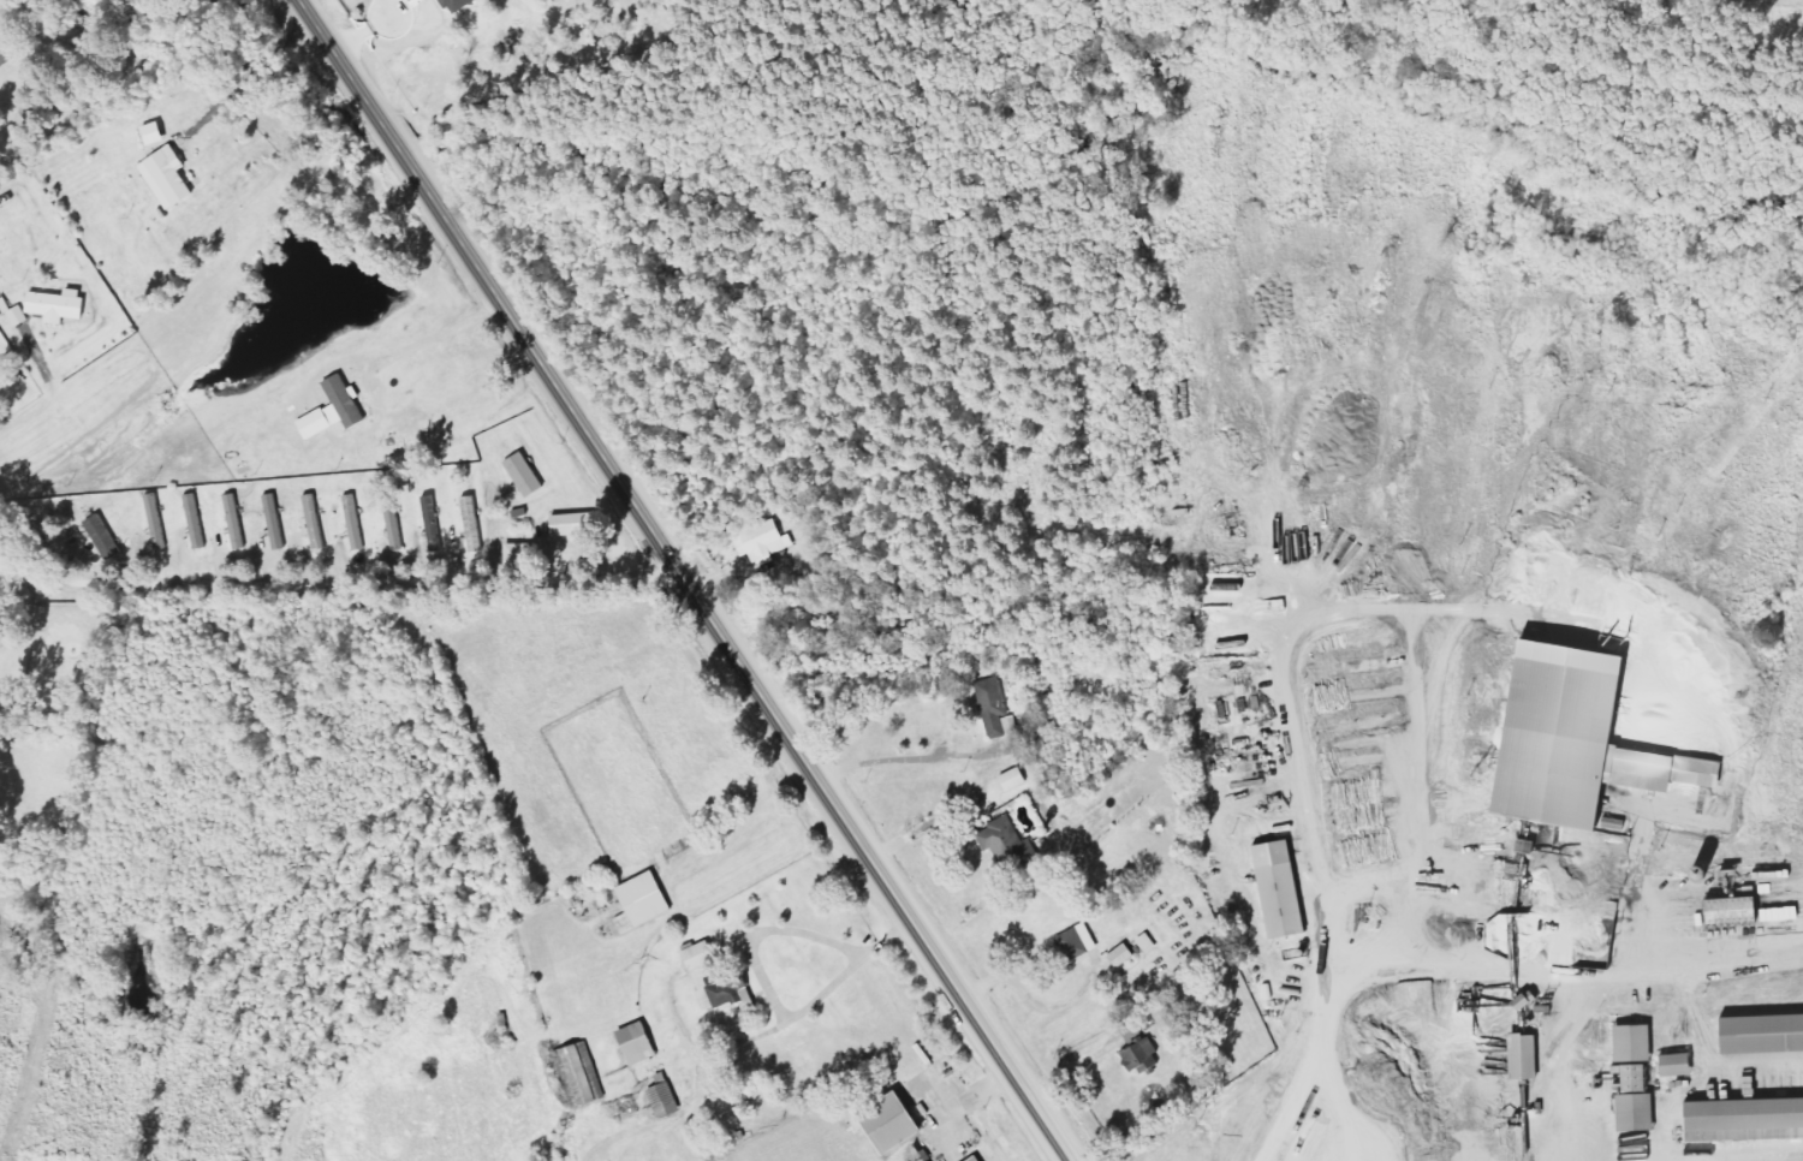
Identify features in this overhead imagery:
building: (462, 5)
building: (5, 59)
building: (157, 133)
building: (171, 177)
building: (61, 305)
building: (14, 312)
building: (339, 409)
road: (612, 474)
building: (529, 475)
building: (160, 522)
building: (198, 522)
building: (238, 522)
building: (278, 522)
building: (317, 522)
building: (357, 523)
building: (397, 523)
building: (436, 524)
building: (476, 524)
building: (577, 524)
building: (107, 536)
building: (764, 541)
building: (522, 554)
road: (325, 580)
building: (996, 705)
building: (1014, 724)
road: (1295, 736)
building: (1583, 740)
building: (1017, 779)
building: (1011, 845)
building: (1285, 889)
building: (645, 903)
building: (1739, 911)
building: (1695, 913)
building: (1081, 942)
building: (1127, 959)
road: (1715, 965)
building: (720, 981)
building: (1766, 1035)
building: (642, 1043)
building: (1640, 1044)
road: (1000, 1053)
building: (1144, 1056)
building: (1530, 1058)
building: (1683, 1065)
building: (582, 1076)
building: (668, 1101)
building: (1747, 1120)
building: (897, 1124)
road: (1793, 1157)
building: (981, 1159)
road: (1769, 1160)

